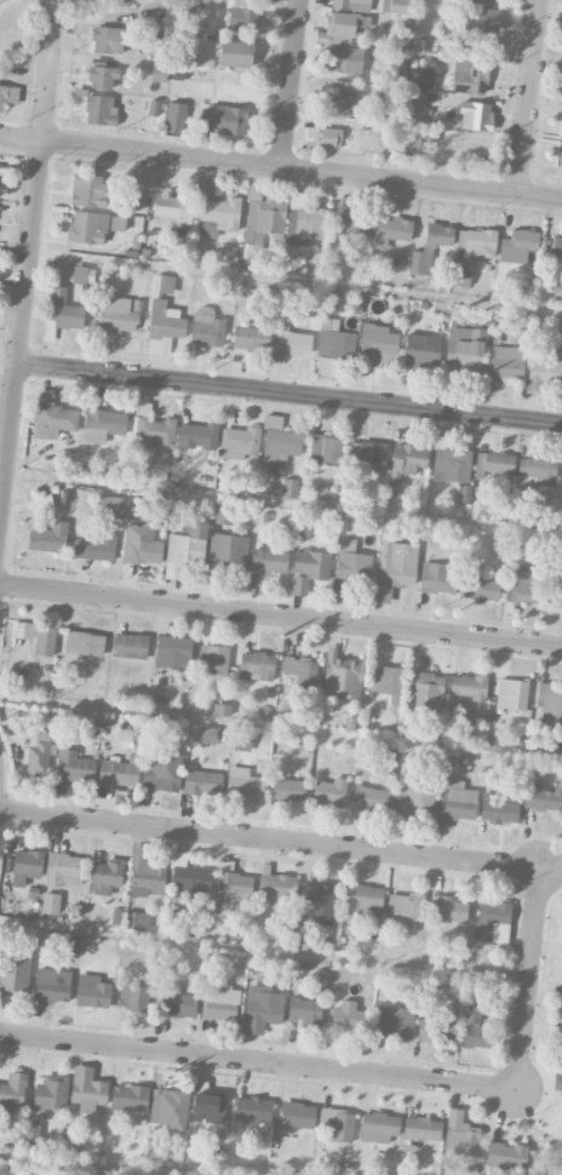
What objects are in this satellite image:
building: (350, 5)
building: (396, 6)
building: (242, 15)
building: (480, 15)
building: (340, 24)
building: (108, 39)
building: (235, 53)
building: (343, 58)
building: (159, 71)
building: (102, 76)
building: (468, 76)
building: (421, 78)
road: (287, 84)
building: (561, 87)
building: (8, 96)
road: (528, 97)
building: (336, 104)
building: (153, 107)
building: (415, 108)
building: (99, 110)
building: (475, 115)
building: (174, 116)
building: (224, 120)
building: (328, 137)
building: (561, 153)
road: (280, 167)
building: (88, 190)
building: (132, 199)
building: (172, 208)
building: (218, 216)
building: (308, 218)
building: (354, 220)
building: (117, 223)
building: (87, 227)
building: (389, 230)
building: (476, 243)
building: (517, 246)
building: (556, 246)
building: (429, 247)
road: (80, 248)
building: (250, 252)
road: (27, 263)
building: (82, 275)
building: (460, 276)
building: (164, 285)
building: (63, 309)
building: (115, 315)
building: (162, 326)
building: (206, 327)
building: (251, 337)
building: (334, 339)
building: (292, 340)
building: (378, 344)
building: (463, 349)
building: (420, 350)
building: (505, 361)
building: (325, 367)
building: (543, 369)
road: (288, 392)
building: (52, 417)
building: (102, 424)
building: (151, 429)
building: (197, 435)
building: (240, 440)
building: (279, 440)
road: (2, 446)
building: (325, 449)
building: (368, 454)
building: (408, 458)
building: (449, 463)
building: (494, 463)
building: (539, 470)
building: (289, 487)
building: (464, 493)
building: (110, 506)
building: (222, 514)
building: (389, 532)
building: (47, 538)
building: (142, 539)
building: (96, 548)
building: (185, 549)
building: (228, 549)
building: (269, 561)
building: (351, 561)
building: (395, 568)
building: (436, 578)
building: (522, 587)
building: (480, 589)
building: (555, 595)
road: (281, 617)
building: (38, 636)
building: (84, 643)
building: (130, 646)
building: (172, 652)
building: (212, 659)
building: (256, 665)
building: (300, 671)
building: (340, 675)
building: (383, 682)
building: (425, 688)
building: (468, 688)
building: (511, 693)
building: (549, 703)
building: (208, 710)
building: (241, 740)
building: (38, 753)
building: (74, 767)
building: (162, 769)
building: (116, 772)
building: (202, 783)
building: (242, 784)
building: (286, 789)
building: (329, 792)
building: (369, 797)
building: (544, 797)
building: (414, 799)
building: (455, 804)
building: (497, 809)
road: (270, 839)
building: (25, 866)
building: (63, 870)
building: (145, 875)
building: (104, 876)
building: (277, 888)
building: (231, 889)
building: (362, 899)
building: (320, 901)
building: (50, 902)
building: (405, 905)
building: (448, 910)
building: (136, 921)
building: (492, 921)
building: (13, 975)
road: (529, 979)
building: (51, 985)
building: (92, 991)
building: (133, 997)
building: (177, 1002)
building: (220, 1002)
building: (262, 1008)
building: (305, 1011)
building: (349, 1018)
building: (392, 1021)
building: (475, 1030)
building: (436, 1031)
building: (561, 1056)
road: (258, 1061)
building: (557, 1081)
building: (12, 1089)
building: (87, 1089)
building: (51, 1091)
building: (128, 1097)
building: (208, 1106)
building: (168, 1108)
building: (252, 1108)
building: (297, 1114)
building: (338, 1123)
building: (378, 1127)
building: (421, 1128)
building: (28, 1133)
building: (460, 1135)
building: (506, 1156)
building: (30, 1170)

